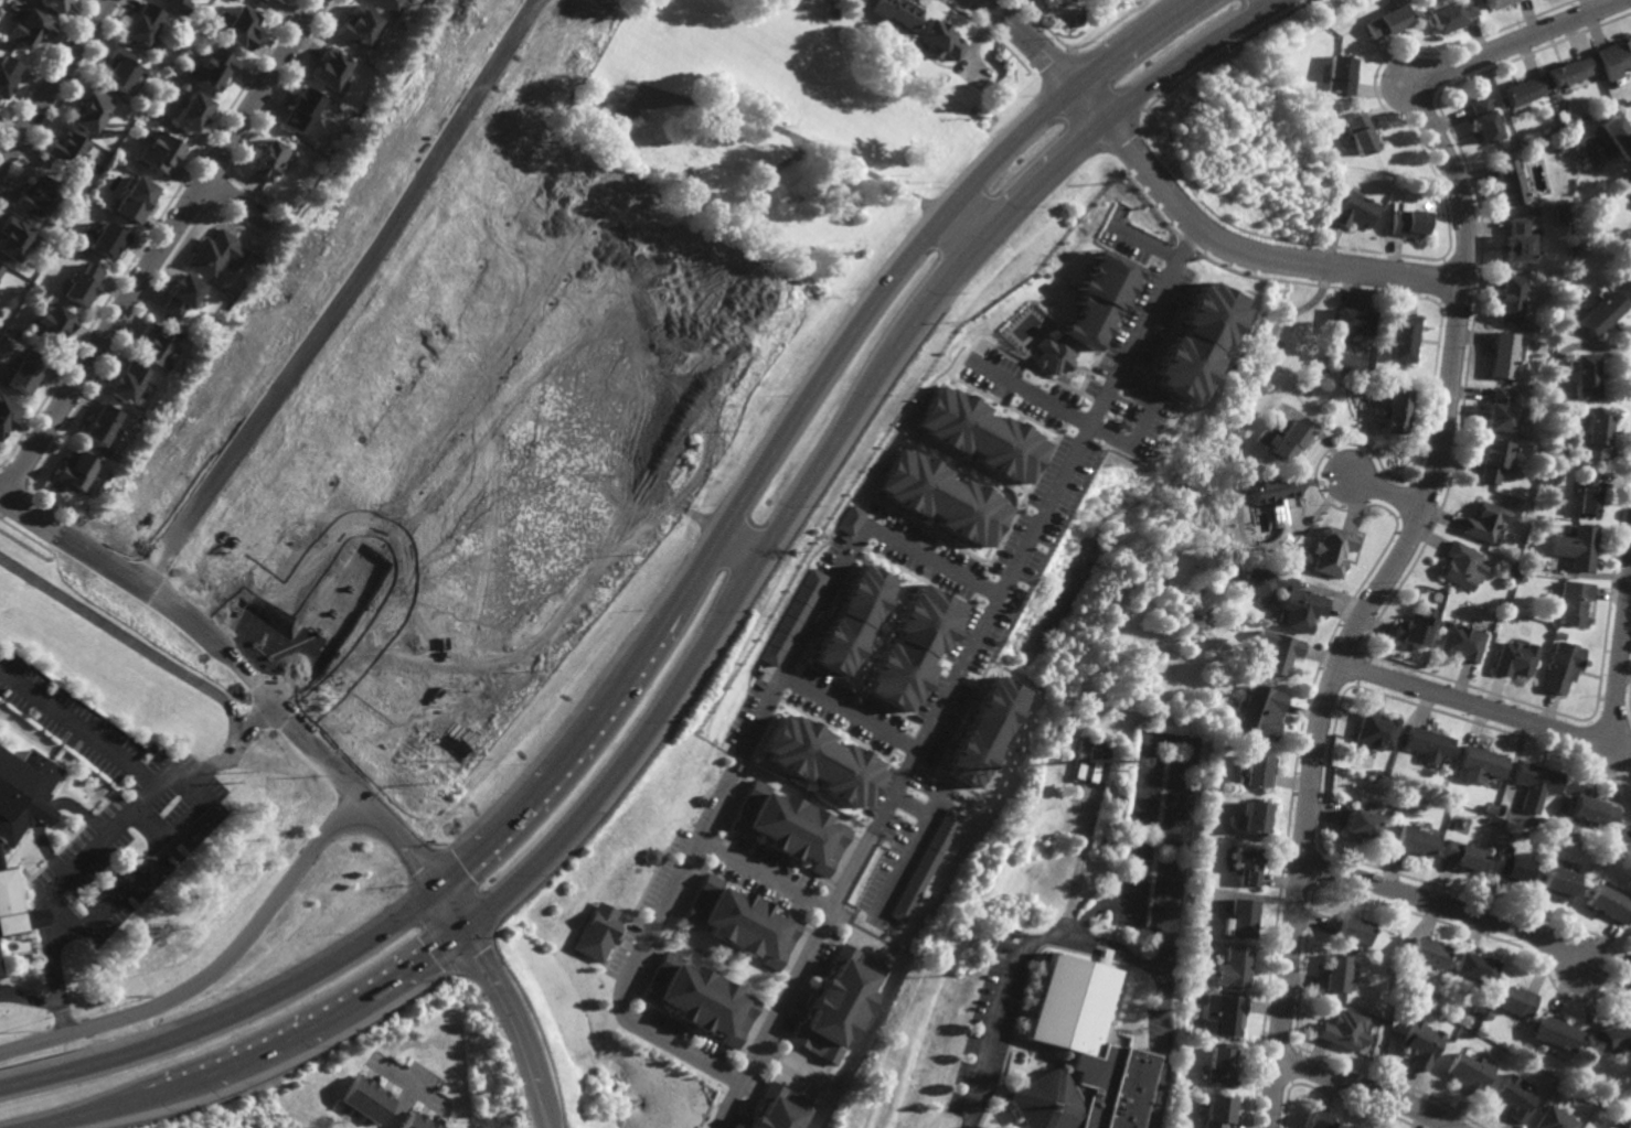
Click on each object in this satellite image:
road: (1276, 0)
building: (807, 1)
building: (1497, 2)
road: (981, 3)
road: (990, 3)
building: (269, 4)
building: (55, 6)
building: (178, 6)
building: (392, 6)
building: (832, 12)
building: (895, 12)
building: (1453, 15)
building: (1388, 21)
building: (145, 24)
building: (31, 26)
building: (238, 26)
building: (361, 26)
building: (940, 37)
building: (1616, 57)
road: (1052, 62)
building: (215, 65)
building: (332, 65)
building: (121, 67)
building: (1571, 69)
building: (8, 73)
building: (1341, 74)
road: (54, 86)
building: (1525, 89)
building: (1620, 100)
building: (303, 107)
building: (93, 109)
building: (194, 109)
building: (1485, 119)
building: (1554, 126)
road: (792, 132)
building: (1361, 132)
building: (1617, 132)
building: (1565, 146)
building: (72, 148)
building: (161, 149)
building: (271, 158)
building: (1507, 182)
building: (1629, 182)
building: (41, 196)
building: (138, 197)
road: (244, 205)
building: (1356, 210)
building: (1410, 222)
road: (960, 230)
building: (19, 237)
building: (111, 238)
road: (1141, 239)
building: (1522, 239)
road: (162, 248)
building: (218, 253)
road: (1256, 255)
building: (1, 269)
building: (85, 284)
building: (183, 293)
road: (345, 294)
building: (1517, 296)
building: (1100, 298)
building: (1606, 312)
building: (1356, 320)
building: (56, 321)
building: (1408, 337)
building: (158, 343)
building: (1194, 343)
building: (1054, 354)
building: (1509, 354)
building: (29, 370)
building: (1588, 376)
building: (130, 382)
building: (1244, 391)
road: (1040, 399)
building: (1398, 409)
building: (1521, 410)
building: (1502, 411)
building: (7, 413)
building: (1552, 422)
building: (104, 425)
building: (981, 434)
building: (1597, 436)
building: (1290, 441)
building: (1493, 460)
building: (78, 469)
road: (426, 481)
road: (726, 487)
road: (1389, 488)
building: (1272, 491)
building: (1588, 493)
building: (944, 496)
road: (1, 501)
road: (1428, 503)
building: (855, 520)
building: (1483, 523)
building: (1544, 523)
road: (689, 545)
building: (1577, 548)
building: (1332, 552)
building: (1460, 567)
road: (597, 570)
building: (1284, 599)
building: (1574, 604)
building: (796, 617)
building: (852, 620)
road: (200, 625)
road: (436, 626)
road: (660, 629)
building: (1414, 631)
road: (127, 636)
road: (705, 637)
building: (1461, 644)
building: (909, 648)
building: (1278, 654)
building: (1515, 660)
building: (1563, 668)
road: (953, 674)
road: (850, 713)
building: (1259, 716)
road: (1546, 727)
road: (79, 728)
building: (985, 732)
building: (1376, 733)
road: (232, 741)
building: (1428, 748)
building: (823, 751)
building: (1086, 751)
building: (1383, 756)
road: (1151, 758)
building: (1480, 764)
road: (734, 769)
building: (1096, 771)
building: (1255, 771)
building: (1080, 773)
building: (1536, 784)
building: (24, 792)
road: (152, 792)
building: (1407, 794)
building: (1395, 798)
building: (1490, 806)
building: (1593, 808)
road: (50, 812)
building: (1254, 813)
building: (1526, 814)
building: (1358, 820)
road: (152, 825)
building: (789, 826)
building: (1538, 837)
building: (1413, 838)
building: (1205, 839)
road: (402, 844)
building: (1461, 852)
building: (650, 856)
building: (1246, 861)
building: (927, 866)
road: (1078, 866)
building: (1510, 866)
building: (1558, 881)
traffic signals: (441, 889)
road: (799, 894)
building: (1609, 902)
building: (17, 905)
building: (1203, 905)
road: (1447, 905)
building: (1240, 915)
building: (738, 920)
traffic signals: (465, 926)
building: (1353, 928)
building: (596, 931)
building: (996, 943)
building: (1427, 950)
building: (995, 952)
road: (1117, 953)
building: (1192, 954)
building: (1394, 958)
building: (1235, 965)
building: (1475, 966)
building: (1336, 971)
road: (212, 973)
building: (1403, 977)
building: (697, 998)
building: (1515, 999)
road: (31, 1000)
building: (1630, 1000)
road: (508, 1001)
building: (841, 1002)
building: (1477, 1009)
building: (1225, 1013)
building: (1489, 1014)
building: (1345, 1031)
building: (1555, 1034)
building: (1608, 1036)
building: (1420, 1042)
building: (1526, 1048)
building: (1182, 1049)
building: (1083, 1053)
building: (1219, 1065)
road: (796, 1068)
building: (1470, 1071)
road: (1368, 1088)
building: (1204, 1092)
building: (1515, 1097)
building: (363, 1098)
building: (782, 1109)
building: (1217, 1110)
building: (1554, 1119)
building: (1321, 1120)
building: (415, 1121)
building: (1618, 1126)

